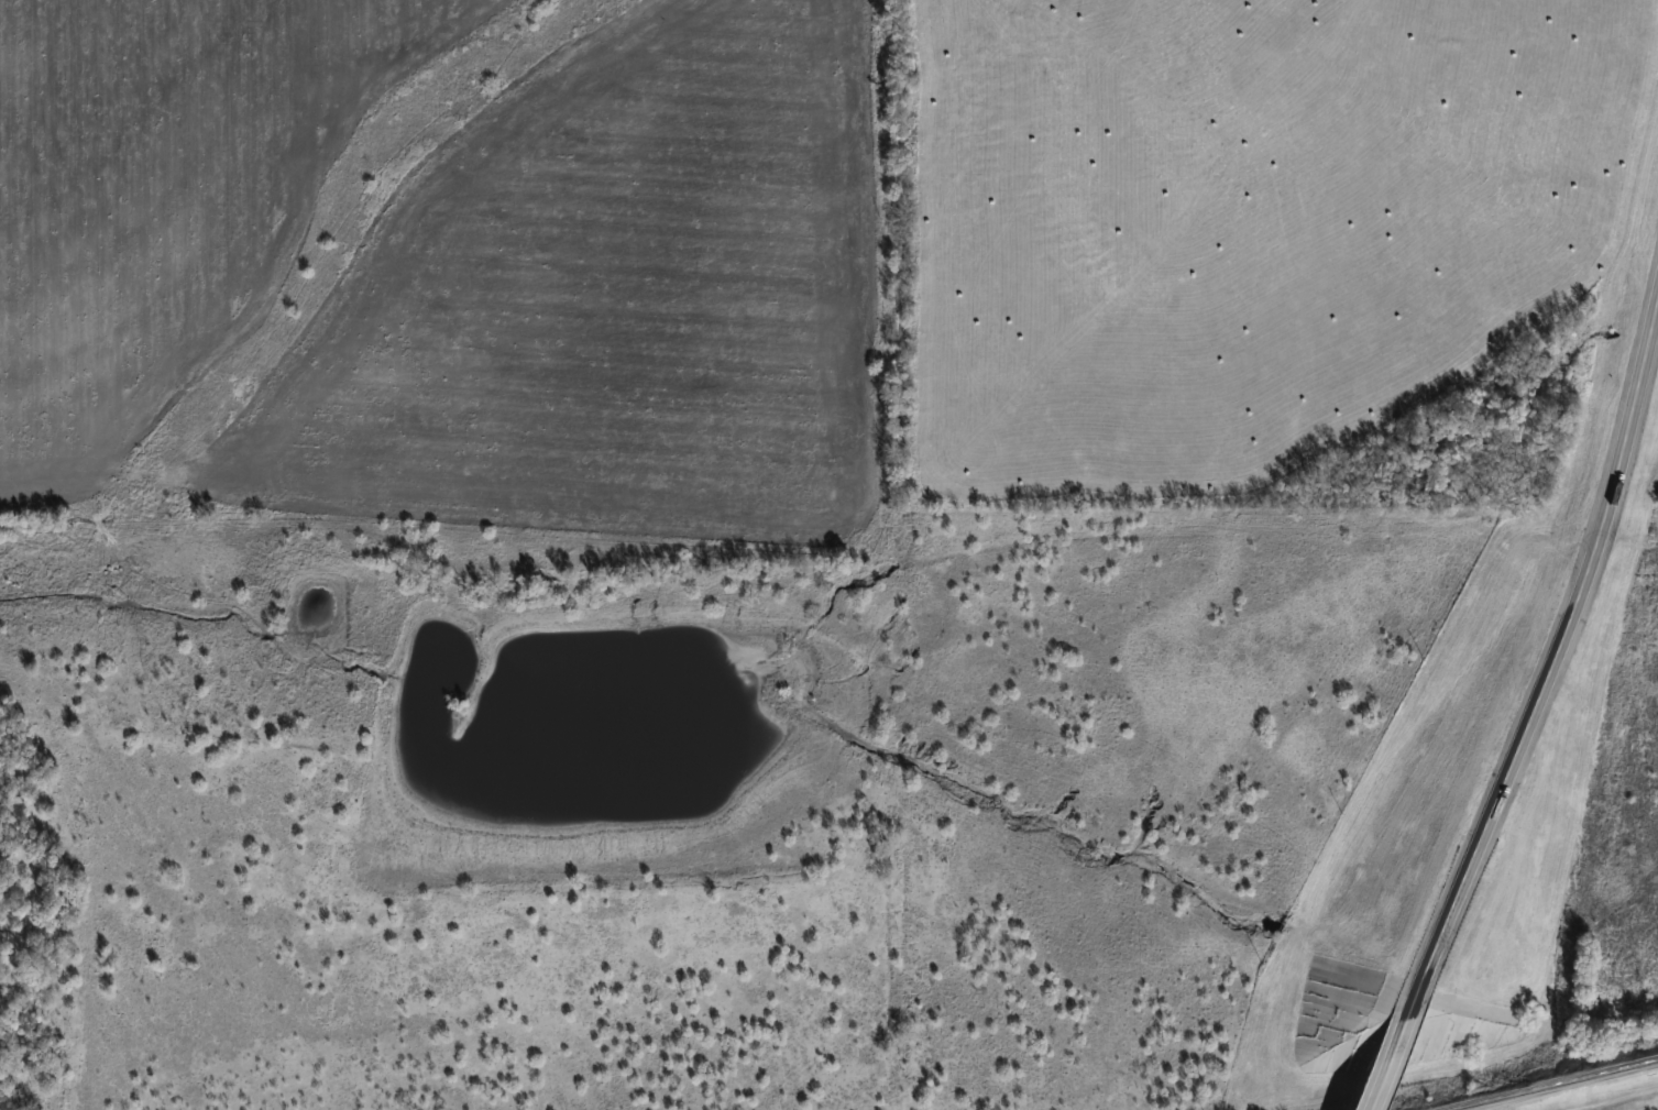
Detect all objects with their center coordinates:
road: (1558, 646)
building: (1340, 1029)
road: (1393, 1048)
railway: (1557, 1086)

